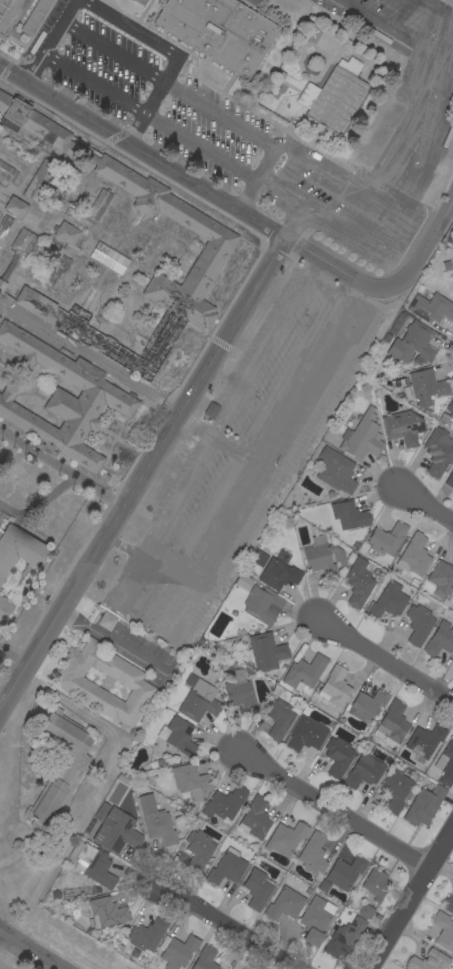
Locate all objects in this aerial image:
building: (141, 1)
building: (251, 2)
road: (418, 2)
road: (435, 11)
building: (10, 14)
building: (35, 16)
road: (383, 24)
road: (61, 27)
building: (219, 31)
building: (330, 41)
road: (162, 44)
road: (114, 52)
building: (351, 65)
road: (96, 83)
building: (308, 95)
building: (336, 101)
road: (235, 122)
road: (407, 126)
road: (437, 131)
road: (286, 151)
road: (220, 155)
building: (7, 172)
building: (36, 179)
road: (192, 189)
building: (98, 206)
building: (15, 207)
building: (452, 221)
road: (291, 223)
building: (5, 226)
road: (398, 228)
building: (66, 233)
building: (220, 239)
road: (425, 245)
building: (19, 251)
building: (109, 258)
building: (57, 273)
road: (305, 280)
building: (424, 292)
road: (326, 298)
building: (431, 308)
building: (0, 317)
road: (231, 327)
building: (413, 344)
road: (91, 357)
road: (258, 360)
building: (427, 387)
building: (62, 401)
building: (211, 410)
building: (451, 412)
building: (351, 420)
road: (196, 427)
building: (403, 427)
road: (215, 434)
building: (362, 438)
building: (438, 452)
road: (61, 471)
building: (335, 471)
building: (449, 481)
road: (184, 492)
road: (426, 503)
building: (349, 515)
building: (387, 539)
road: (125, 549)
building: (414, 556)
building: (323, 557)
building: (258, 558)
road: (91, 562)
road: (139, 568)
building: (278, 575)
building: (22, 576)
building: (442, 577)
building: (414, 582)
building: (358, 583)
building: (238, 590)
building: (388, 600)
building: (262, 605)
building: (107, 621)
building: (419, 624)
road: (114, 639)
building: (440, 640)
building: (265, 652)
road: (14, 656)
road: (385, 660)
building: (304, 673)
building: (72, 682)
building: (335, 687)
building: (240, 692)
building: (199, 702)
building: (367, 705)
building: (278, 717)
building: (392, 724)
building: (307, 736)
building: (178, 737)
building: (424, 744)
building: (338, 756)
building: (447, 765)
building: (60, 768)
building: (364, 771)
building: (191, 781)
building: (395, 788)
building: (225, 803)
building: (424, 805)
road: (334, 809)
building: (255, 818)
building: (156, 821)
building: (117, 831)
building: (286, 838)
building: (199, 849)
building: (313, 854)
building: (94, 864)
building: (227, 868)
building: (345, 872)
building: (376, 884)
building: (324, 886)
building: (257, 889)
road: (410, 897)
building: (448, 903)
building: (285, 904)
building: (366, 911)
building: (107, 912)
building: (316, 920)
road: (232, 928)
building: (444, 931)
building: (147, 935)
road: (3, 936)
building: (344, 937)
road: (33, 948)
building: (178, 952)
building: (205, 959)
building: (428, 961)
building: (245, 968)

